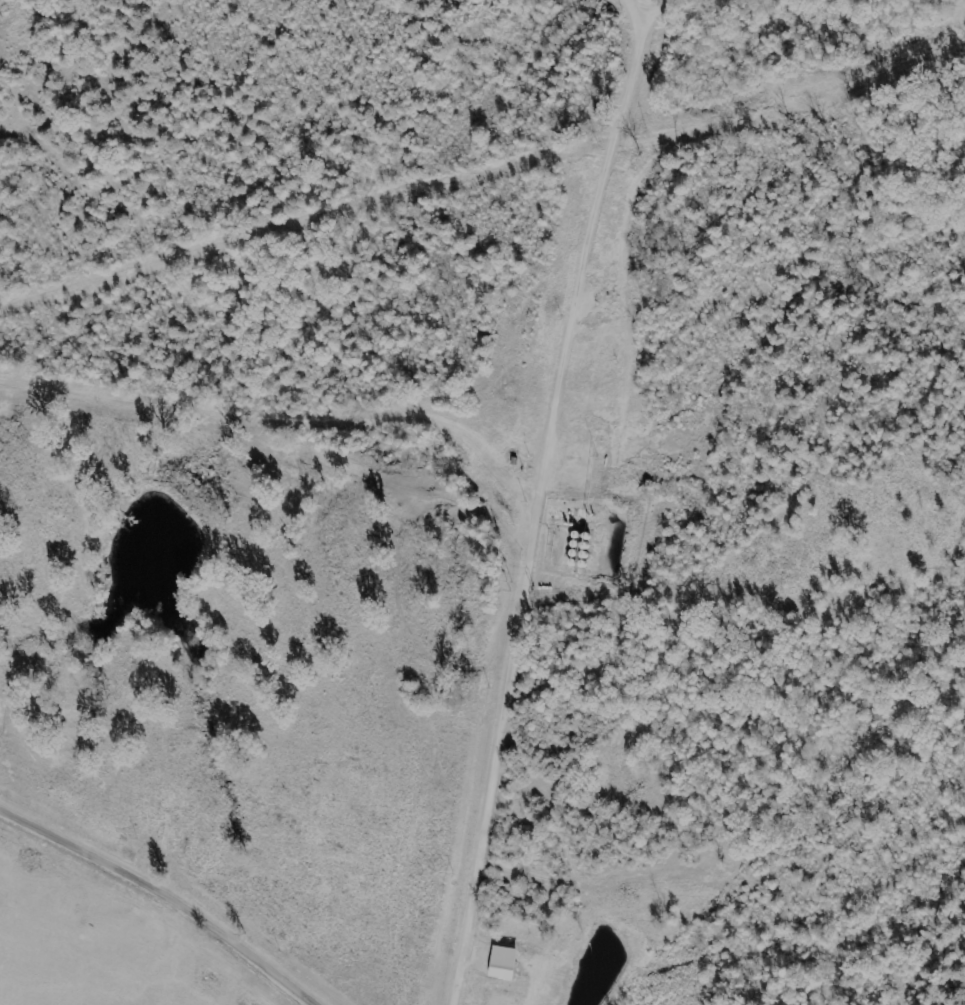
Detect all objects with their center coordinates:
road: (165, 894)
building: (508, 963)

